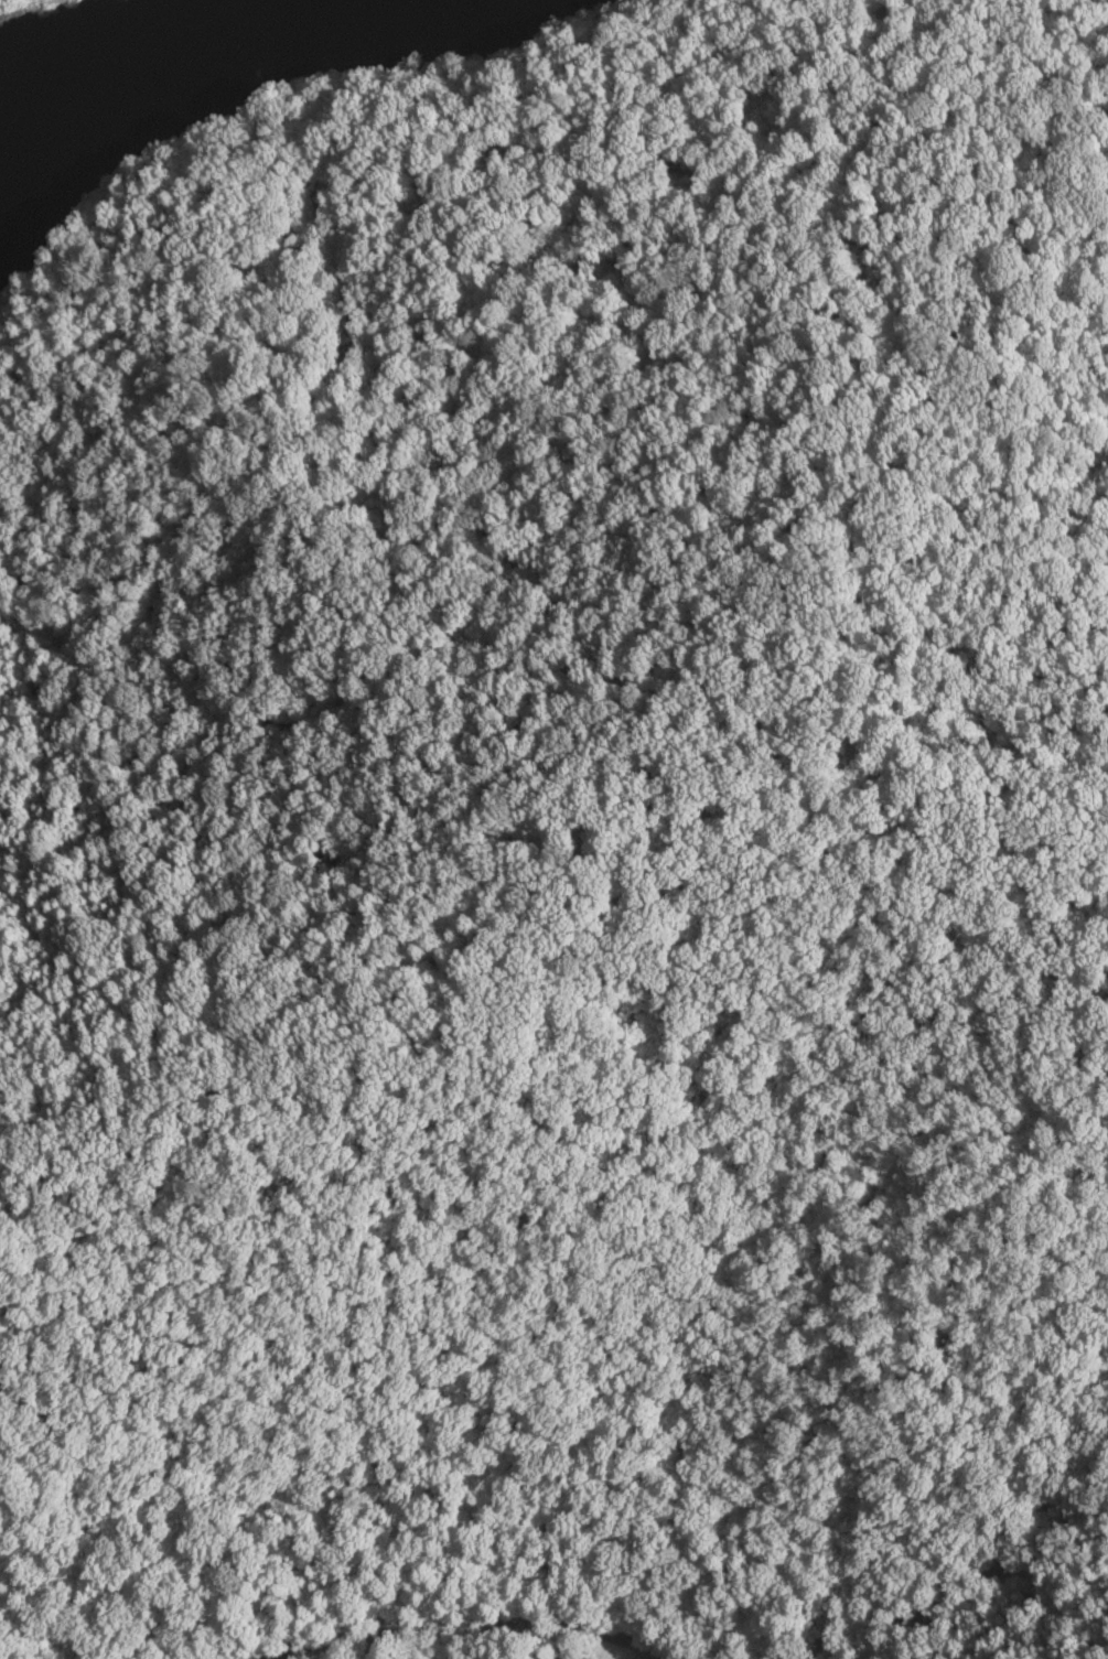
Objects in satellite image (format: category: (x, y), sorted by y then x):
road: (454, 1625)

